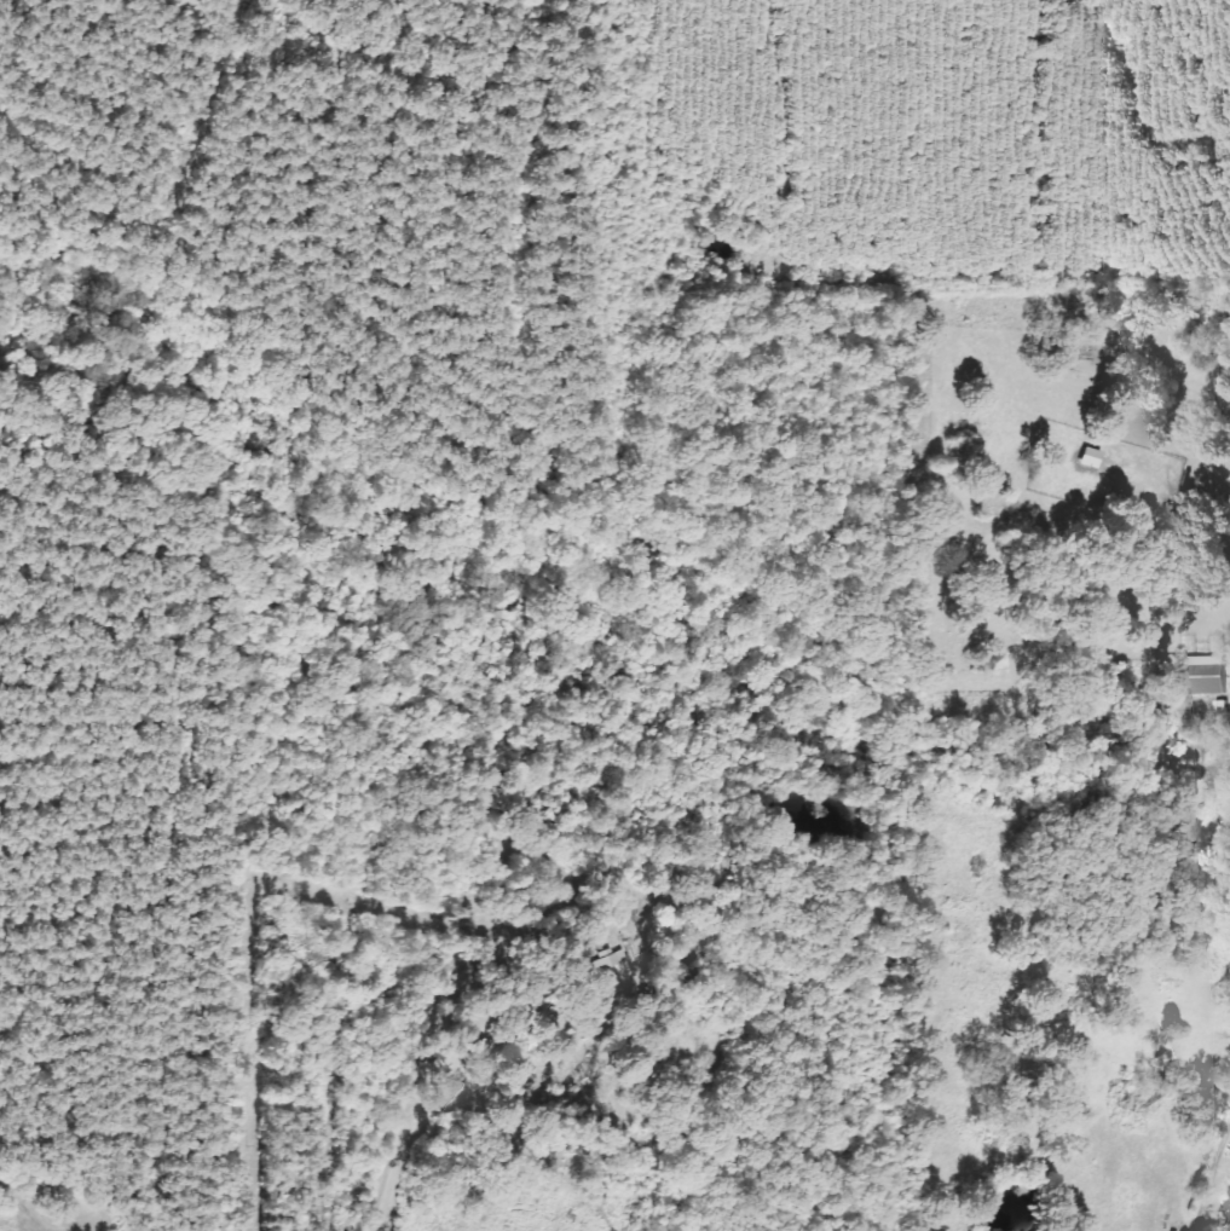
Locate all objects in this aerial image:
building: (1202, 681)
road: (85, 982)

